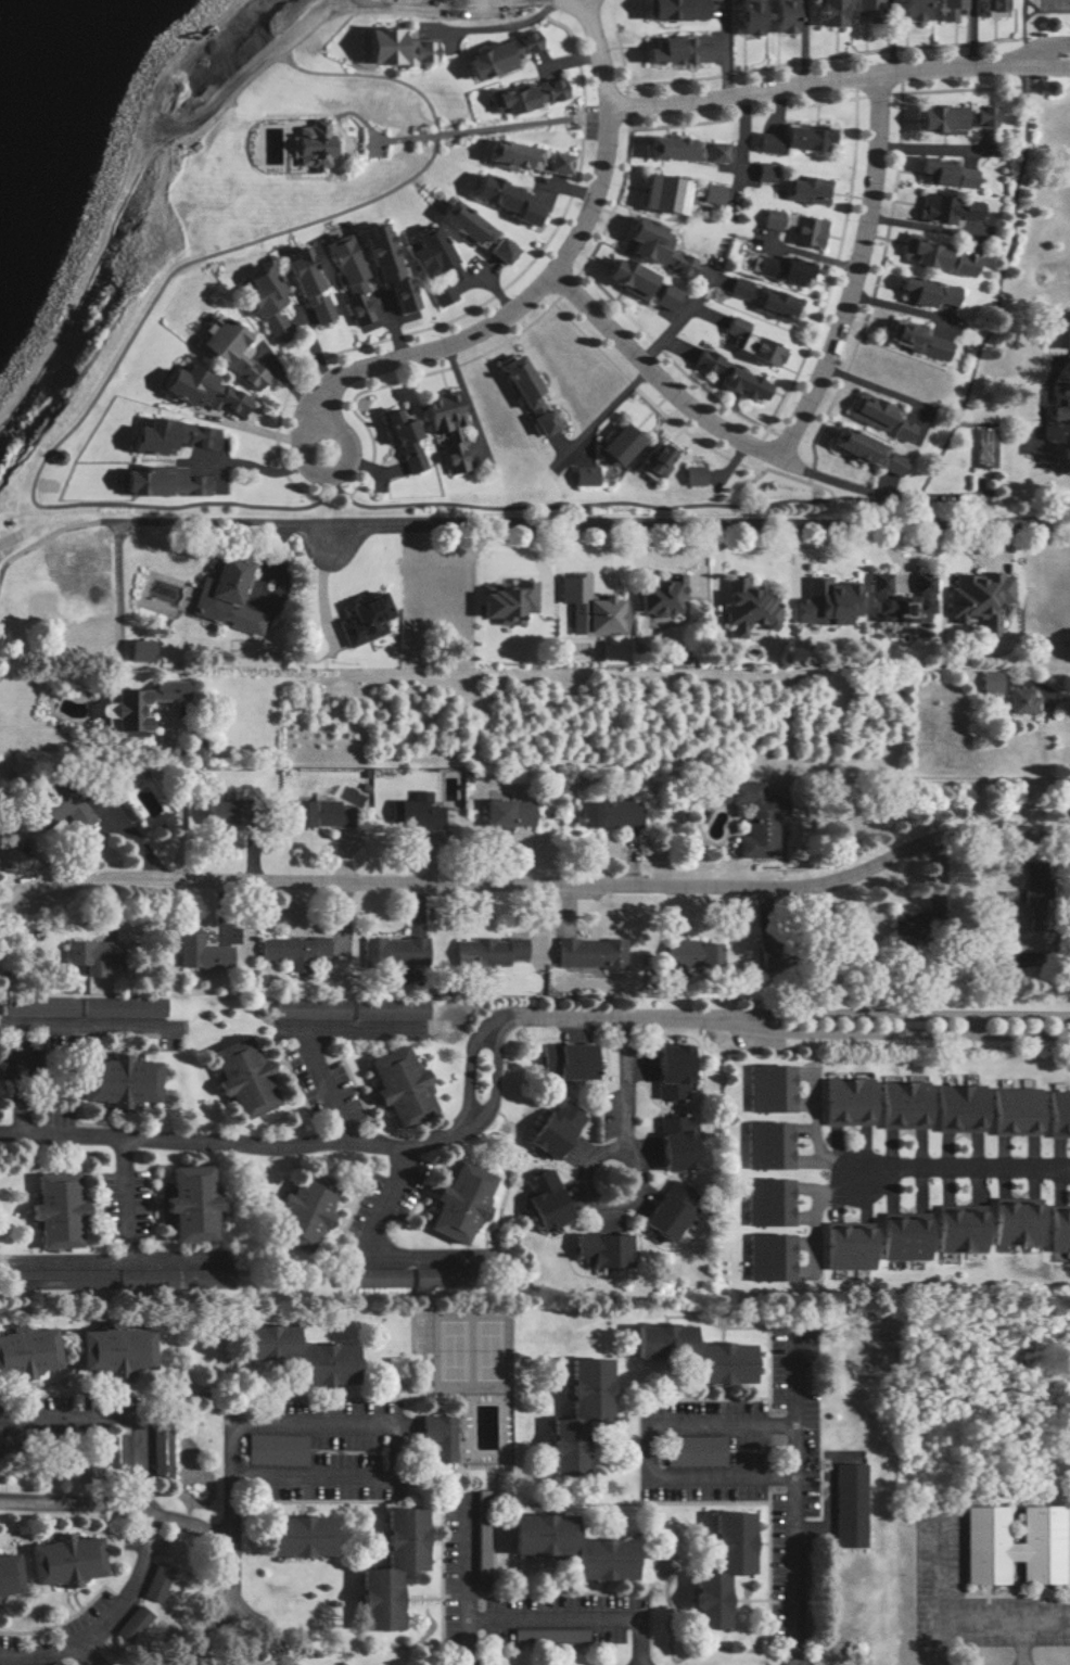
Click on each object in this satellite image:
building: (990, 8)
building: (863, 9)
building: (908, 9)
building: (945, 9)
building: (828, 13)
building: (747, 16)
building: (779, 16)
road: (507, 25)
road: (972, 34)
road: (890, 37)
road: (805, 43)
building: (391, 47)
building: (676, 50)
road: (727, 50)
building: (496, 55)
road: (839, 82)
building: (981, 116)
building: (938, 119)
building: (793, 139)
building: (318, 144)
building: (668, 148)
building: (715, 152)
building: (523, 157)
building: (763, 171)
building: (944, 173)
building: (804, 190)
building: (661, 193)
building: (705, 193)
building: (501, 199)
building: (946, 208)
building: (769, 219)
building: (460, 224)
building: (805, 233)
building: (652, 246)
building: (497, 251)
building: (922, 252)
building: (380, 262)
building: (430, 263)
building: (960, 265)
building: (780, 269)
road: (853, 274)
road: (547, 275)
building: (625, 276)
building: (344, 278)
building: (736, 288)
building: (305, 289)
building: (926, 292)
building: (660, 297)
building: (263, 302)
building: (773, 305)
building: (1054, 332)
building: (913, 339)
building: (747, 343)
building: (228, 352)
road: (655, 378)
building: (729, 378)
building: (200, 391)
building: (524, 395)
building: (1061, 407)
building: (876, 416)
building: (443, 428)
building: (194, 435)
building: (149, 436)
building: (402, 441)
road: (301, 444)
building: (615, 444)
building: (853, 446)
building: (653, 460)
road: (244, 462)
building: (891, 463)
building: (582, 475)
building: (691, 475)
building: (139, 481)
building: (192, 485)
road: (877, 493)
road: (591, 522)
building: (658, 596)
building: (222, 597)
building: (977, 599)
building: (899, 600)
building: (505, 601)
building: (824, 602)
building: (746, 607)
building: (589, 608)
building: (361, 619)
building: (138, 651)
building: (989, 682)
road: (1056, 695)
building: (1019, 700)
road: (179, 798)
building: (58, 809)
building: (418, 811)
building: (217, 812)
building: (607, 812)
building: (507, 813)
road: (110, 823)
road: (544, 891)
building: (291, 950)
building: (393, 951)
building: (486, 951)
building: (588, 952)
building: (690, 953)
building: (200, 954)
building: (91, 955)
road: (85, 1024)
road: (352, 1024)
road: (496, 1031)
building: (563, 1060)
building: (668, 1071)
building: (241, 1078)
building: (113, 1080)
building: (396, 1085)
building: (768, 1088)
building: (844, 1102)
building: (900, 1104)
building: (956, 1108)
building: (1011, 1111)
building: (1057, 1114)
building: (552, 1129)
building: (673, 1142)
building: (766, 1145)
road: (963, 1168)
road: (637, 1171)
road: (130, 1198)
building: (542, 1200)
building: (766, 1202)
building: (186, 1203)
building: (456, 1203)
building: (53, 1209)
building: (666, 1210)
building: (298, 1212)
building: (1012, 1221)
building: (956, 1228)
building: (1057, 1229)
building: (901, 1236)
road: (371, 1238)
building: (844, 1246)
building: (598, 1250)
building: (767, 1257)
building: (107, 1349)
building: (25, 1351)
building: (292, 1353)
building: (689, 1353)
building: (393, 1368)
building: (574, 1414)
road: (118, 1415)
road: (360, 1426)
road: (654, 1426)
building: (434, 1436)
building: (692, 1451)
building: (157, 1453)
building: (846, 1505)
road: (76, 1507)
building: (479, 1511)
building: (293, 1536)
building: (1010, 1546)
building: (566, 1547)
road: (462, 1556)
building: (60, 1560)
building: (717, 1568)
building: (385, 1569)
road: (229, 1571)
road: (797, 1572)
building: (7, 1575)
building: (152, 1583)
road: (549, 1617)
road: (965, 1619)
road: (105, 1622)
building: (128, 1624)
building: (547, 1635)
road: (935, 1638)
road: (1020, 1642)
road: (81, 1657)

